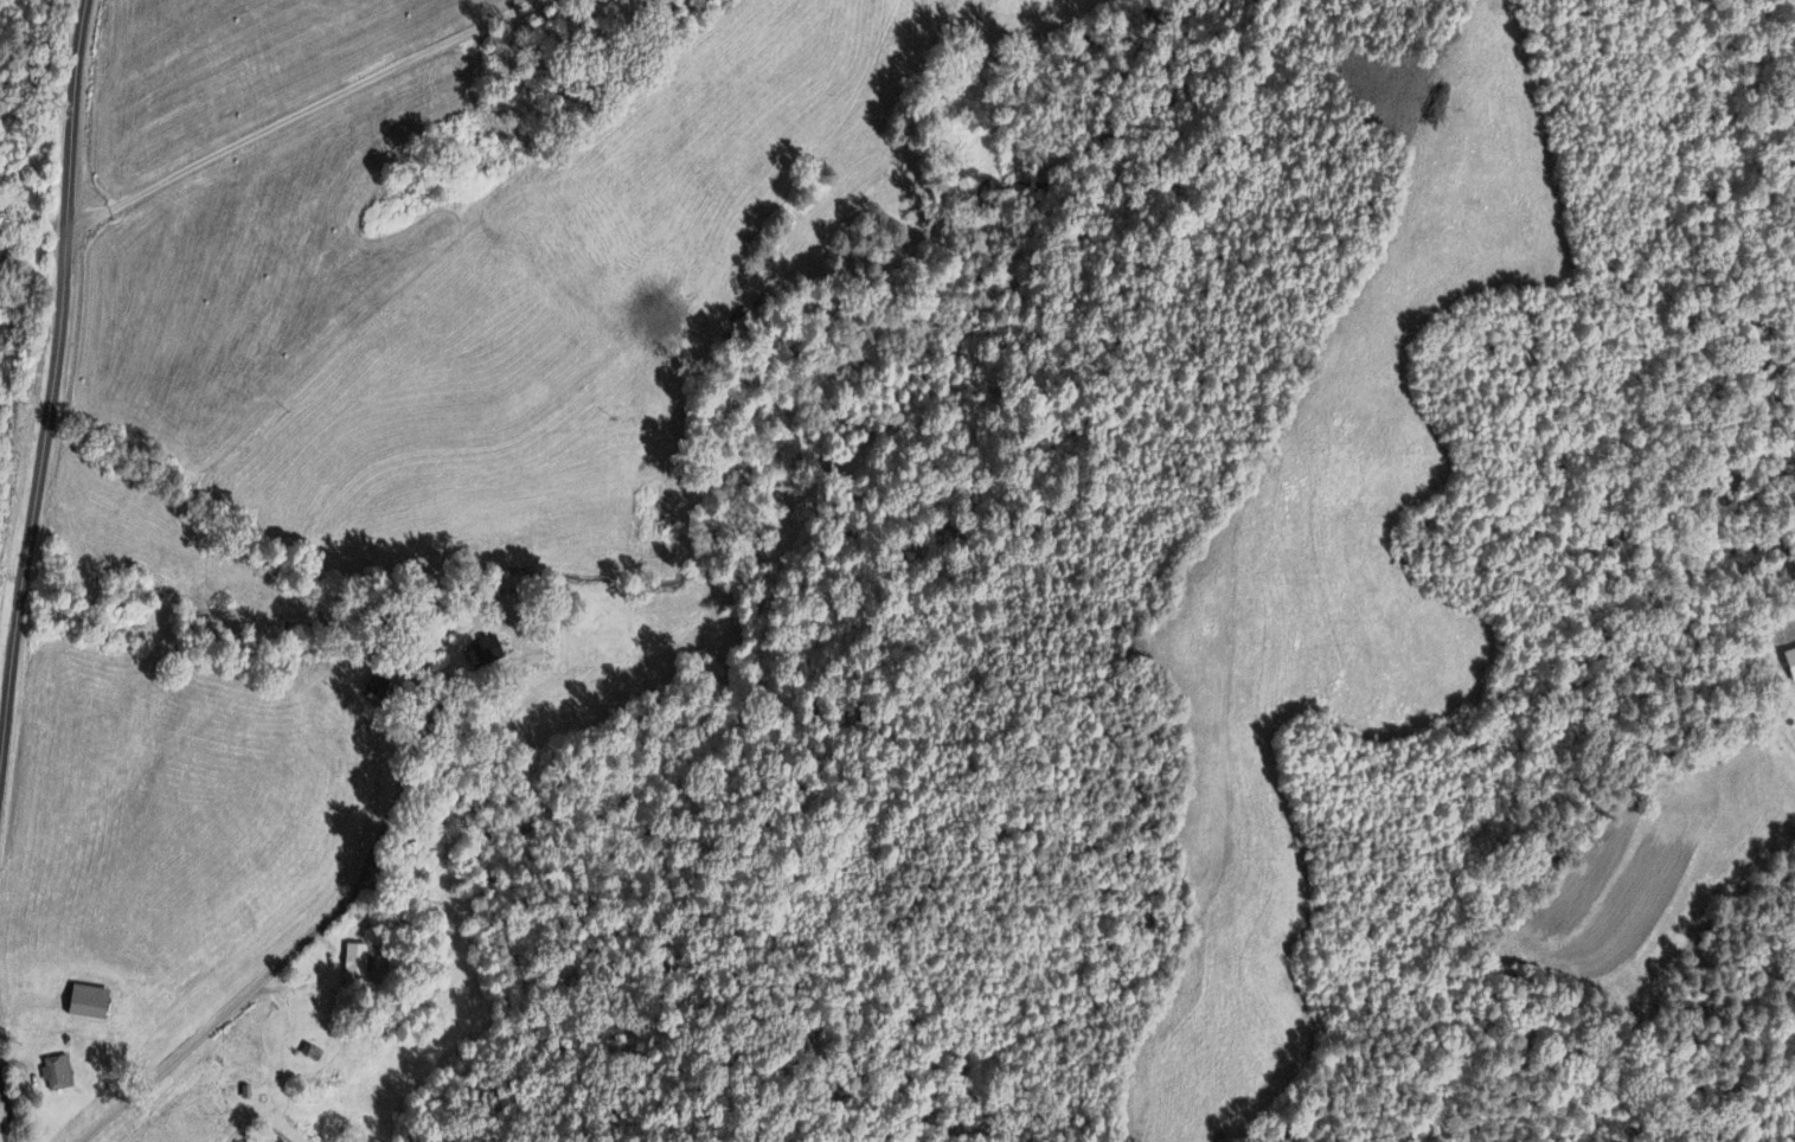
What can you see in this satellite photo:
road: (299, 113)
road: (56, 368)
building: (492, 652)
building: (1789, 665)
road: (300, 941)
building: (361, 965)
road: (315, 981)
building: (96, 1002)
building: (62, 1072)
road: (5, 1116)

